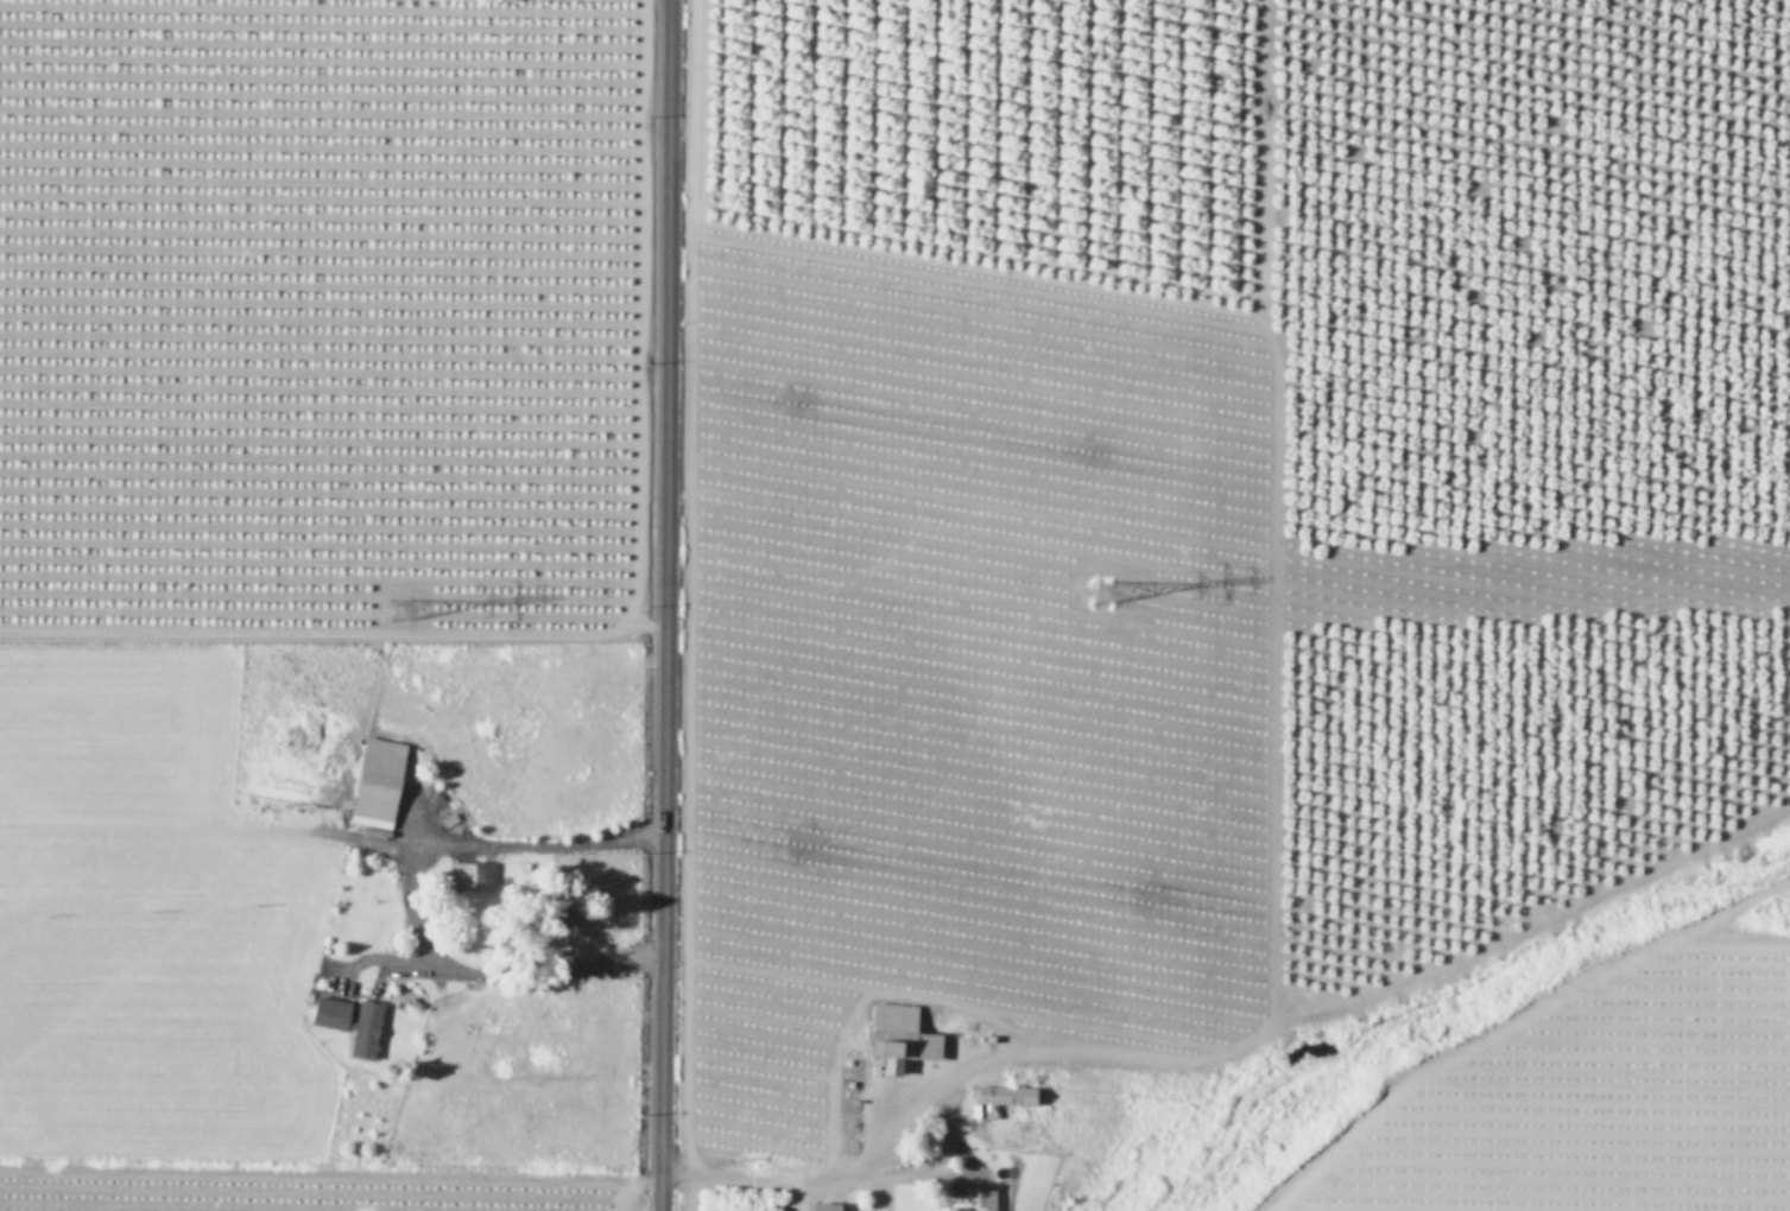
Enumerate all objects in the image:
crop: (311, 583)
power tower: (1090, 588)
road: (663, 605)
power tower: (396, 607)
building: (379, 780)
building: (474, 874)
road: (411, 901)
building: (352, 1020)
building: (907, 1026)
building: (892, 1054)
road: (778, 1177)
building: (978, 1199)
building: (826, 1205)

